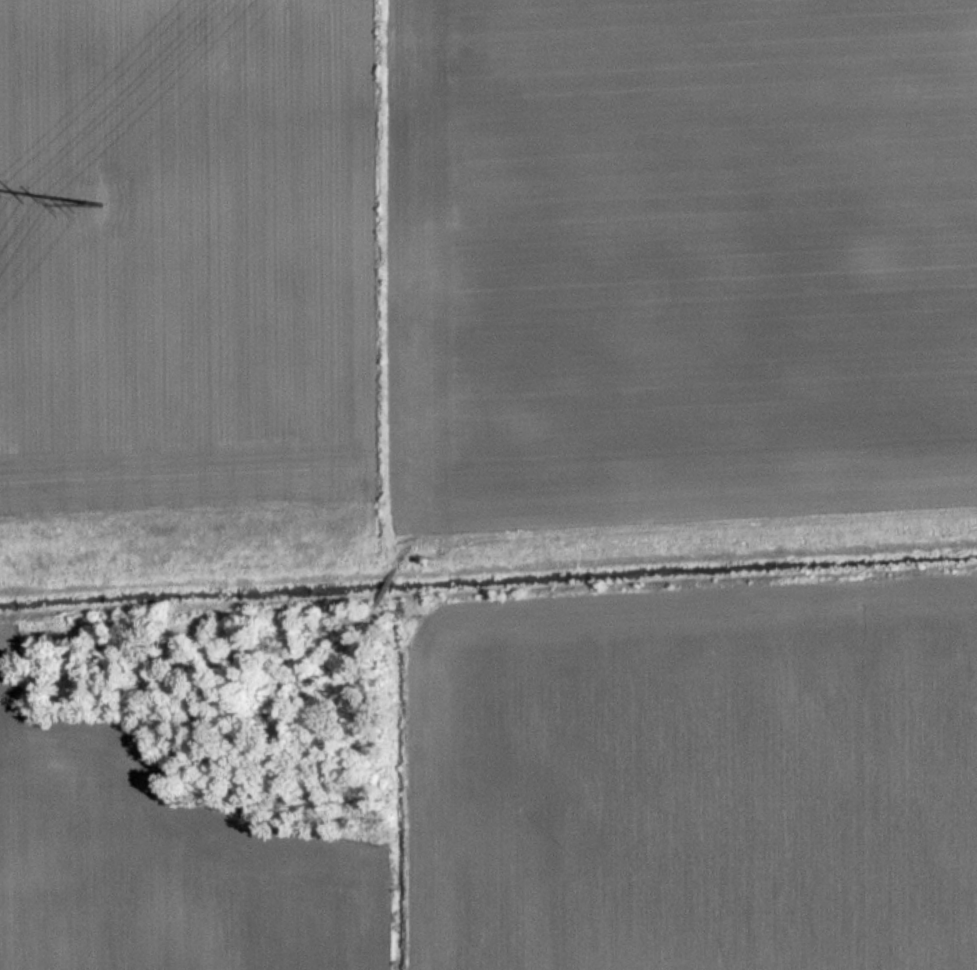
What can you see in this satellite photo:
power tower: (107, 202)

